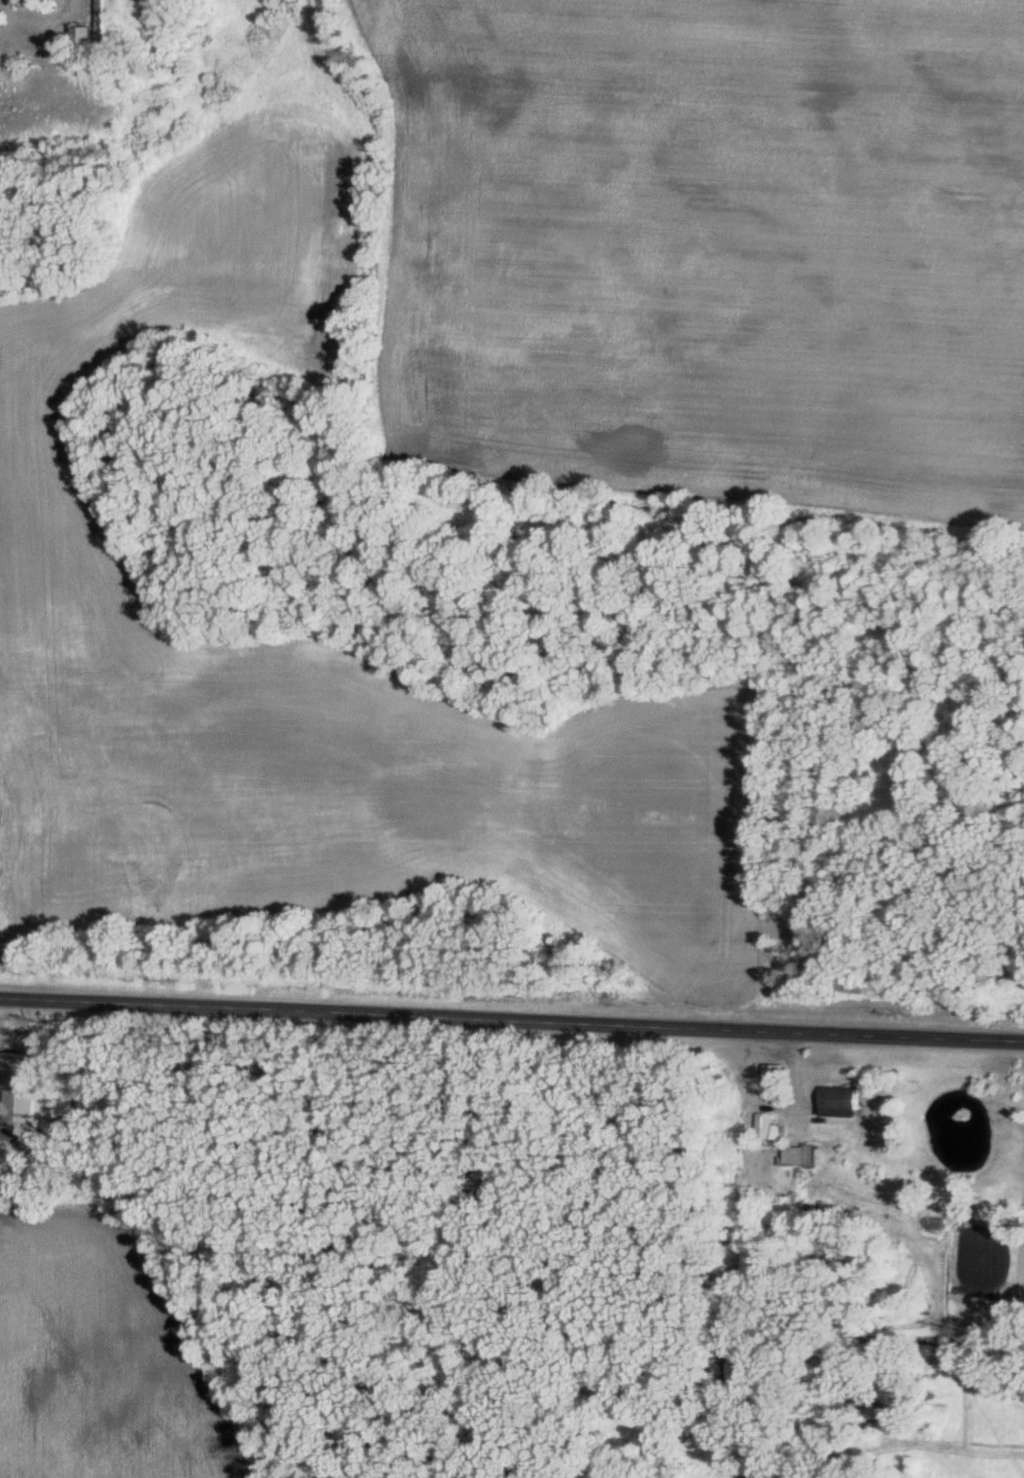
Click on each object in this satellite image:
building: (0, 4)
building: (85, 41)
road: (511, 1022)
building: (778, 1083)
building: (845, 1105)
building: (773, 1129)
building: (797, 1158)

